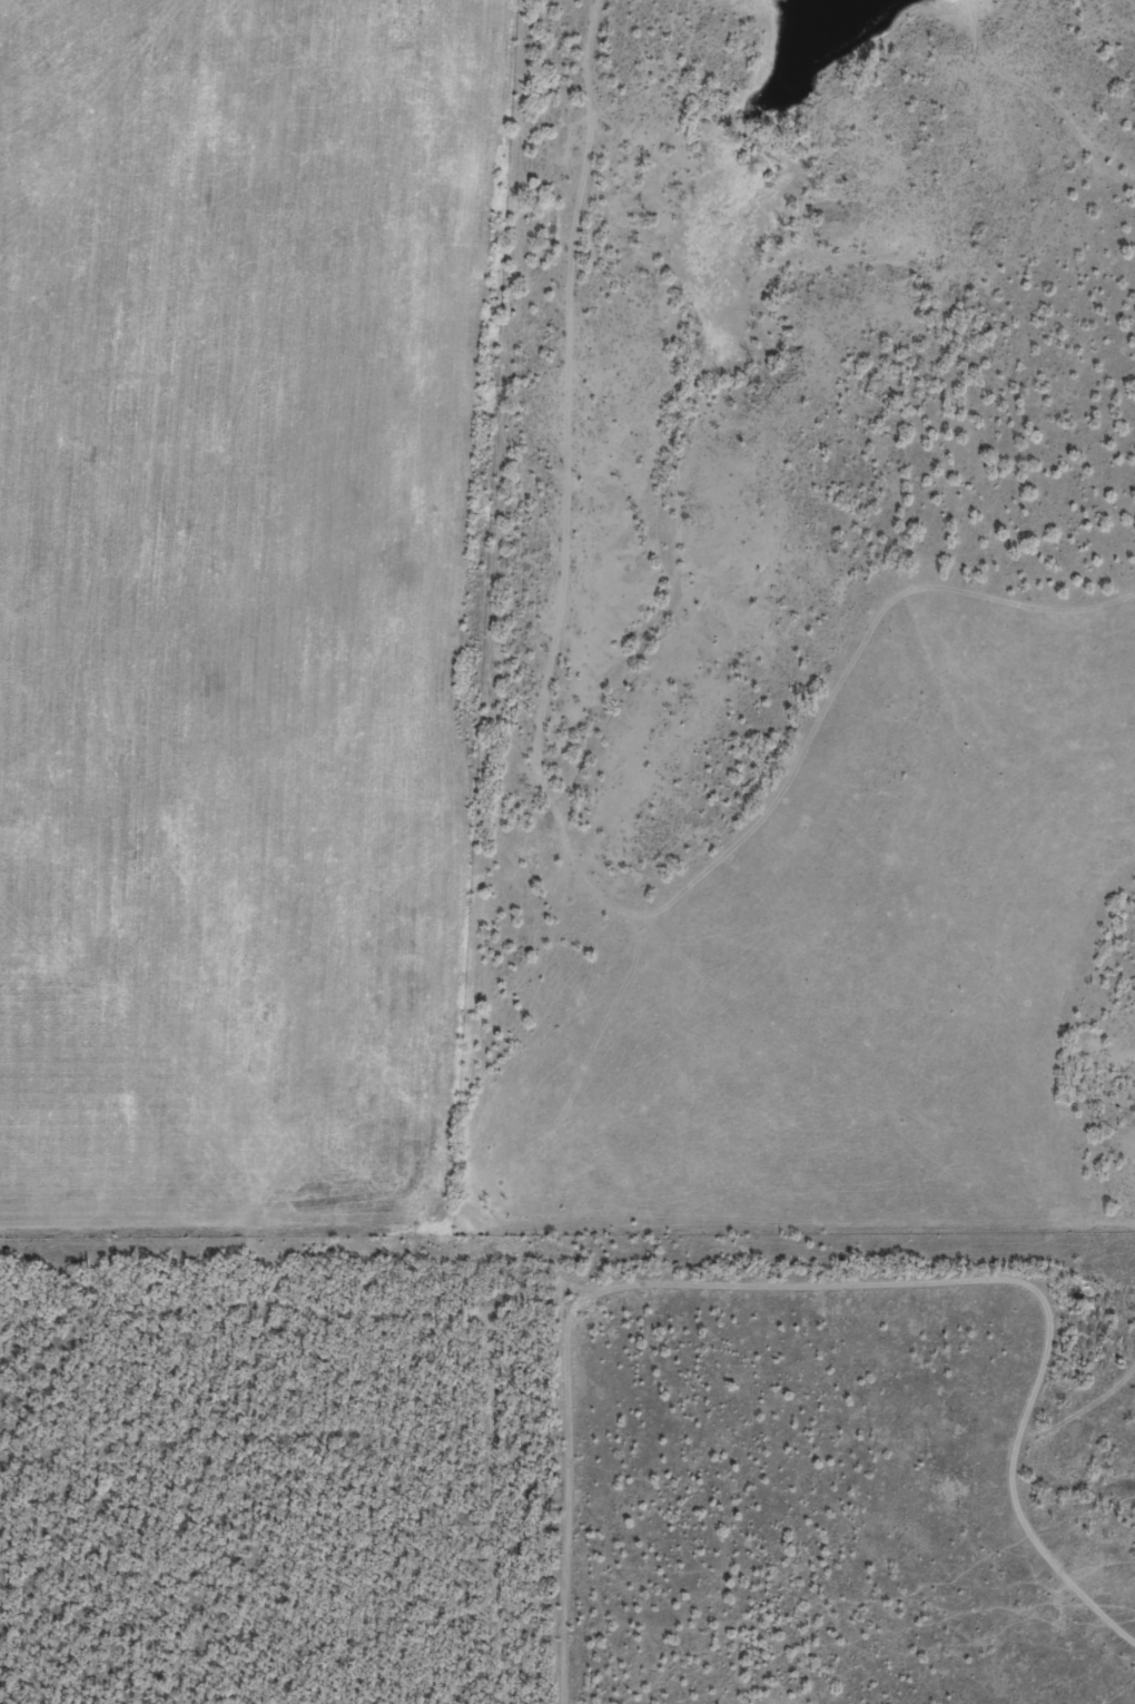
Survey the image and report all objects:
road: (1043, 93)

